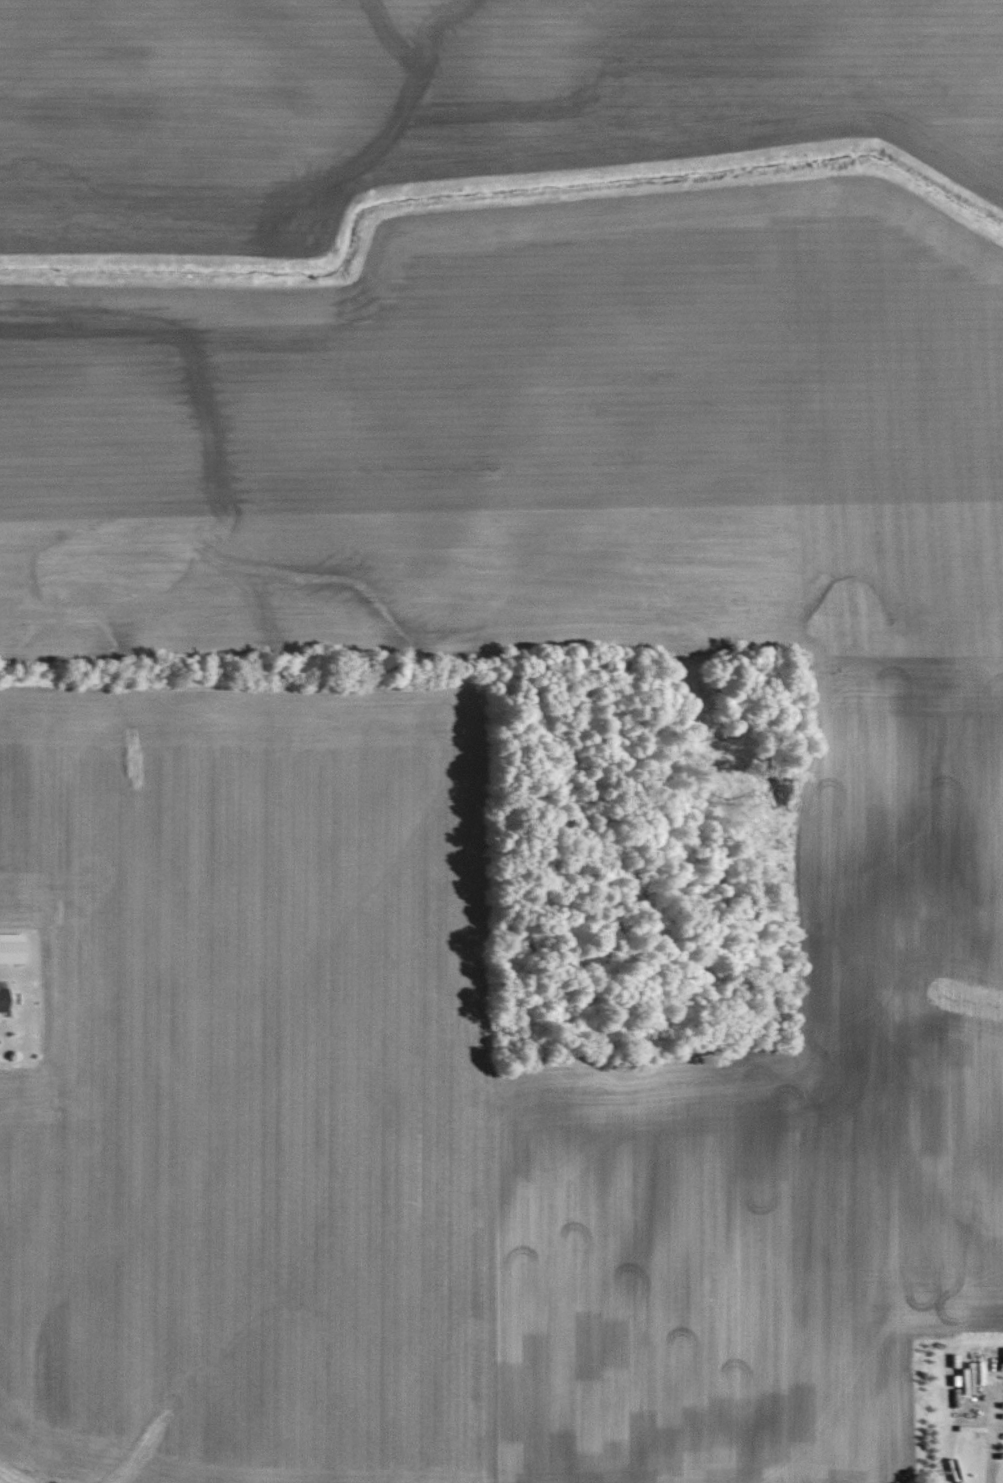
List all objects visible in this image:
building: (11, 948)
building: (2, 999)
building: (960, 1376)
road: (991, 1448)

